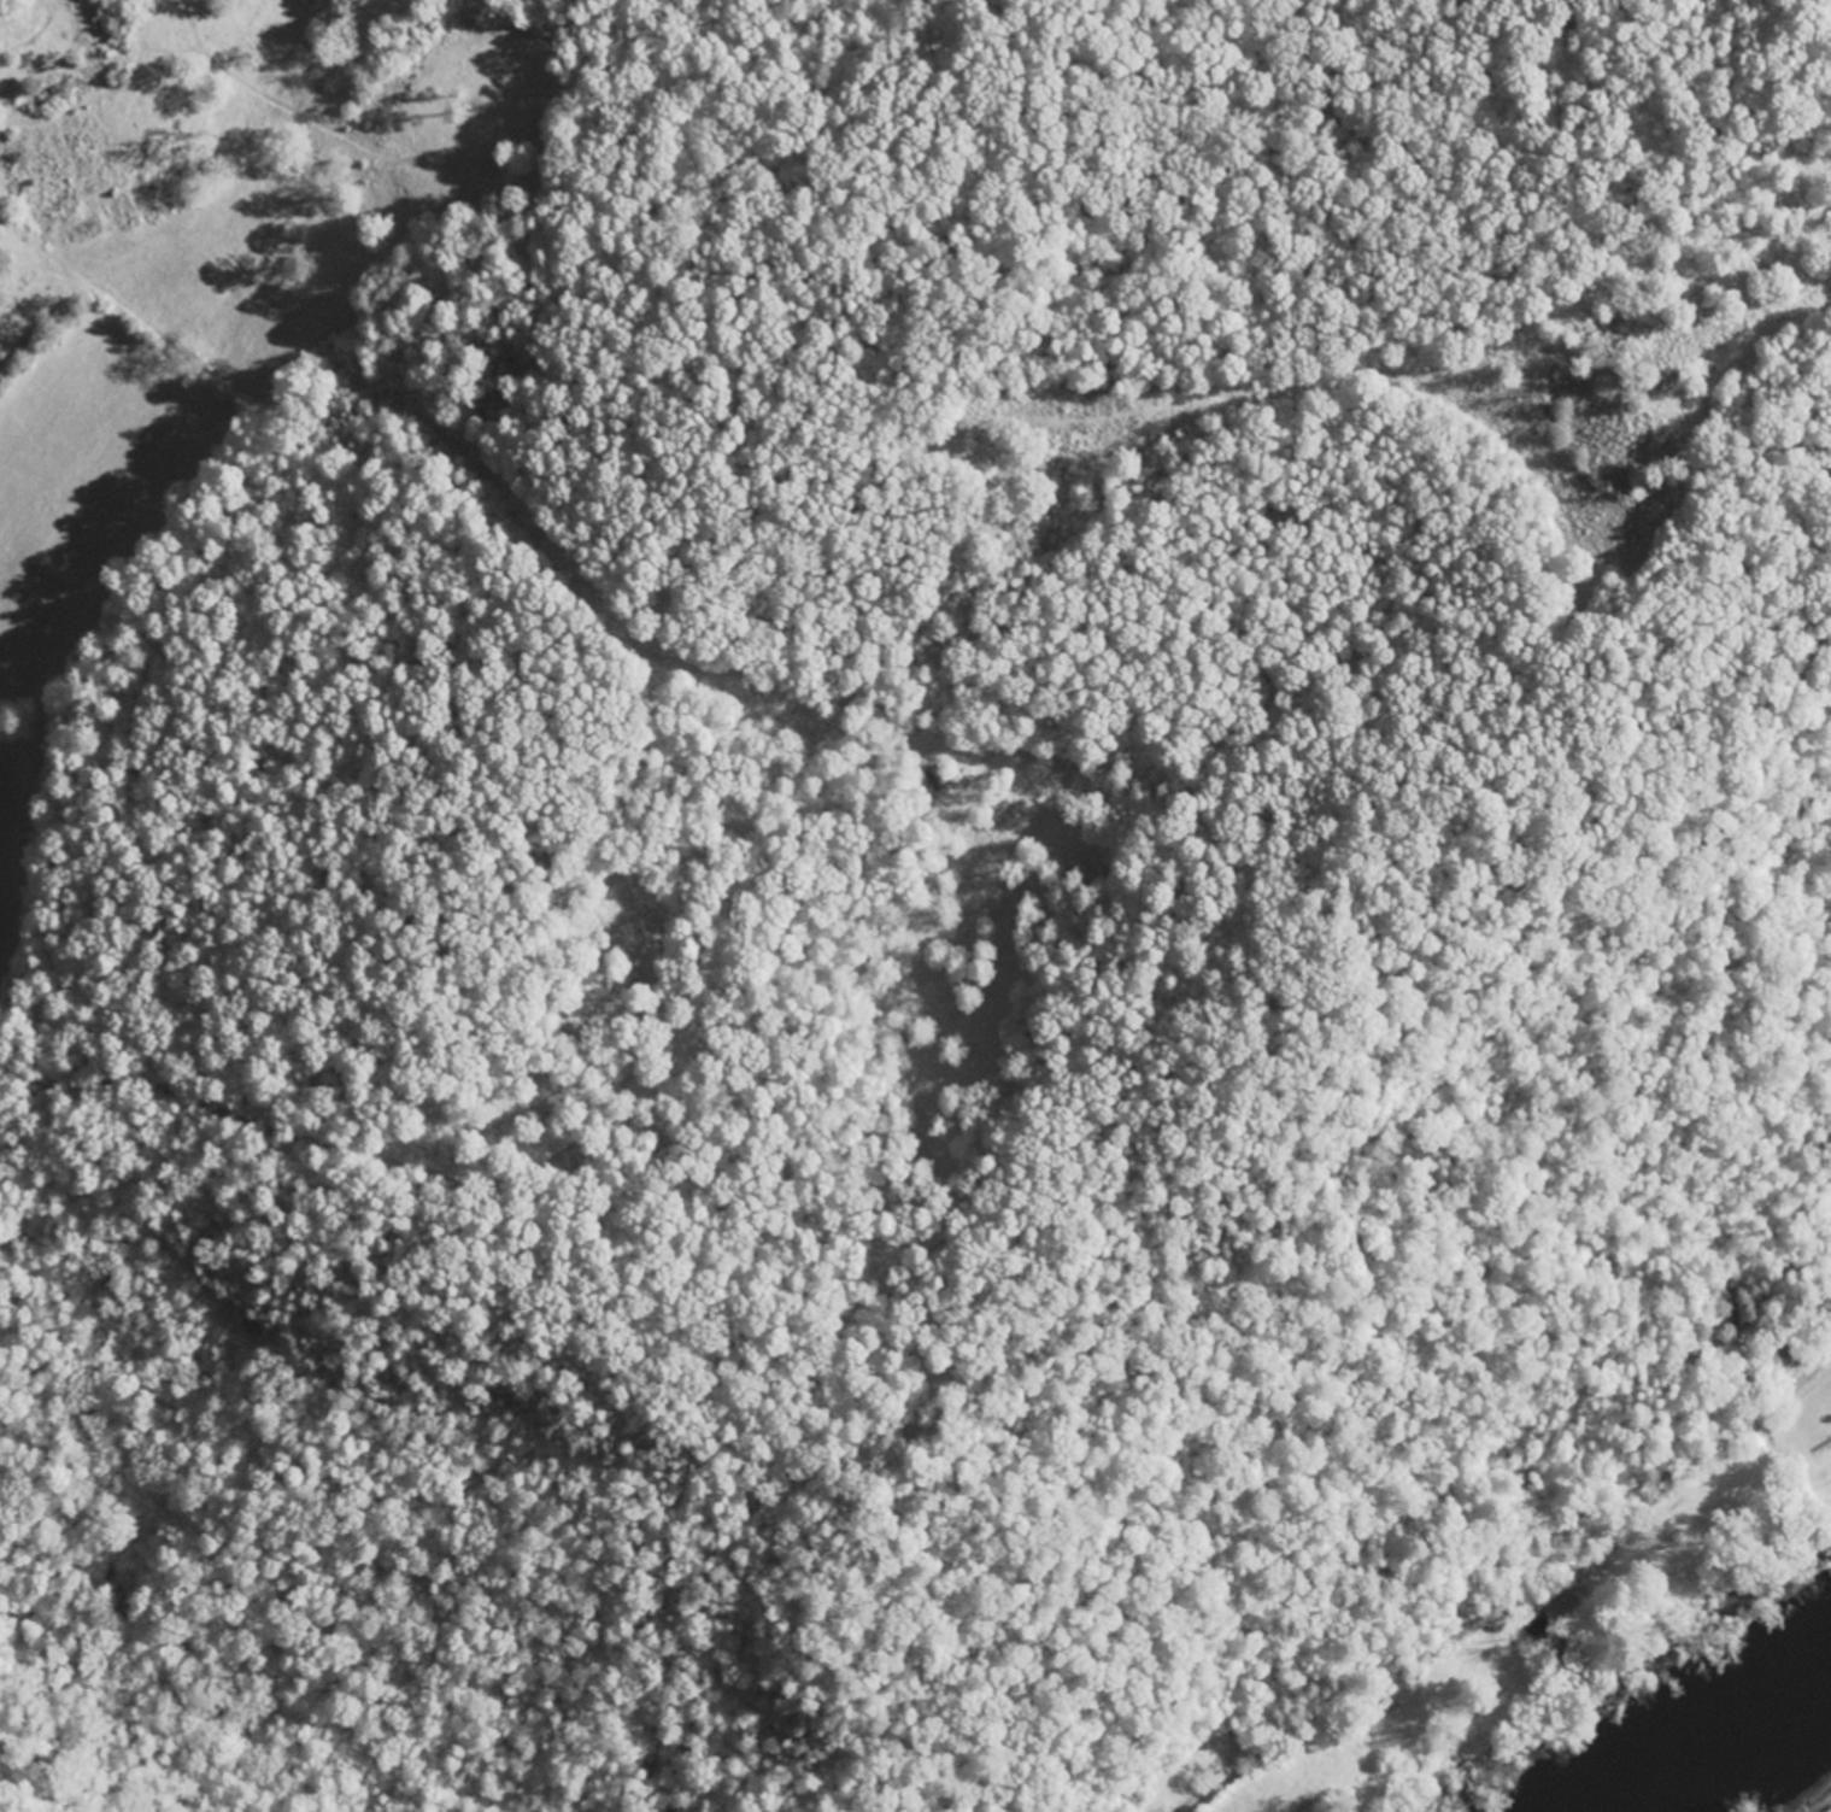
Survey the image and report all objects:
river: (1720, 1731)
road: (25, 1790)

